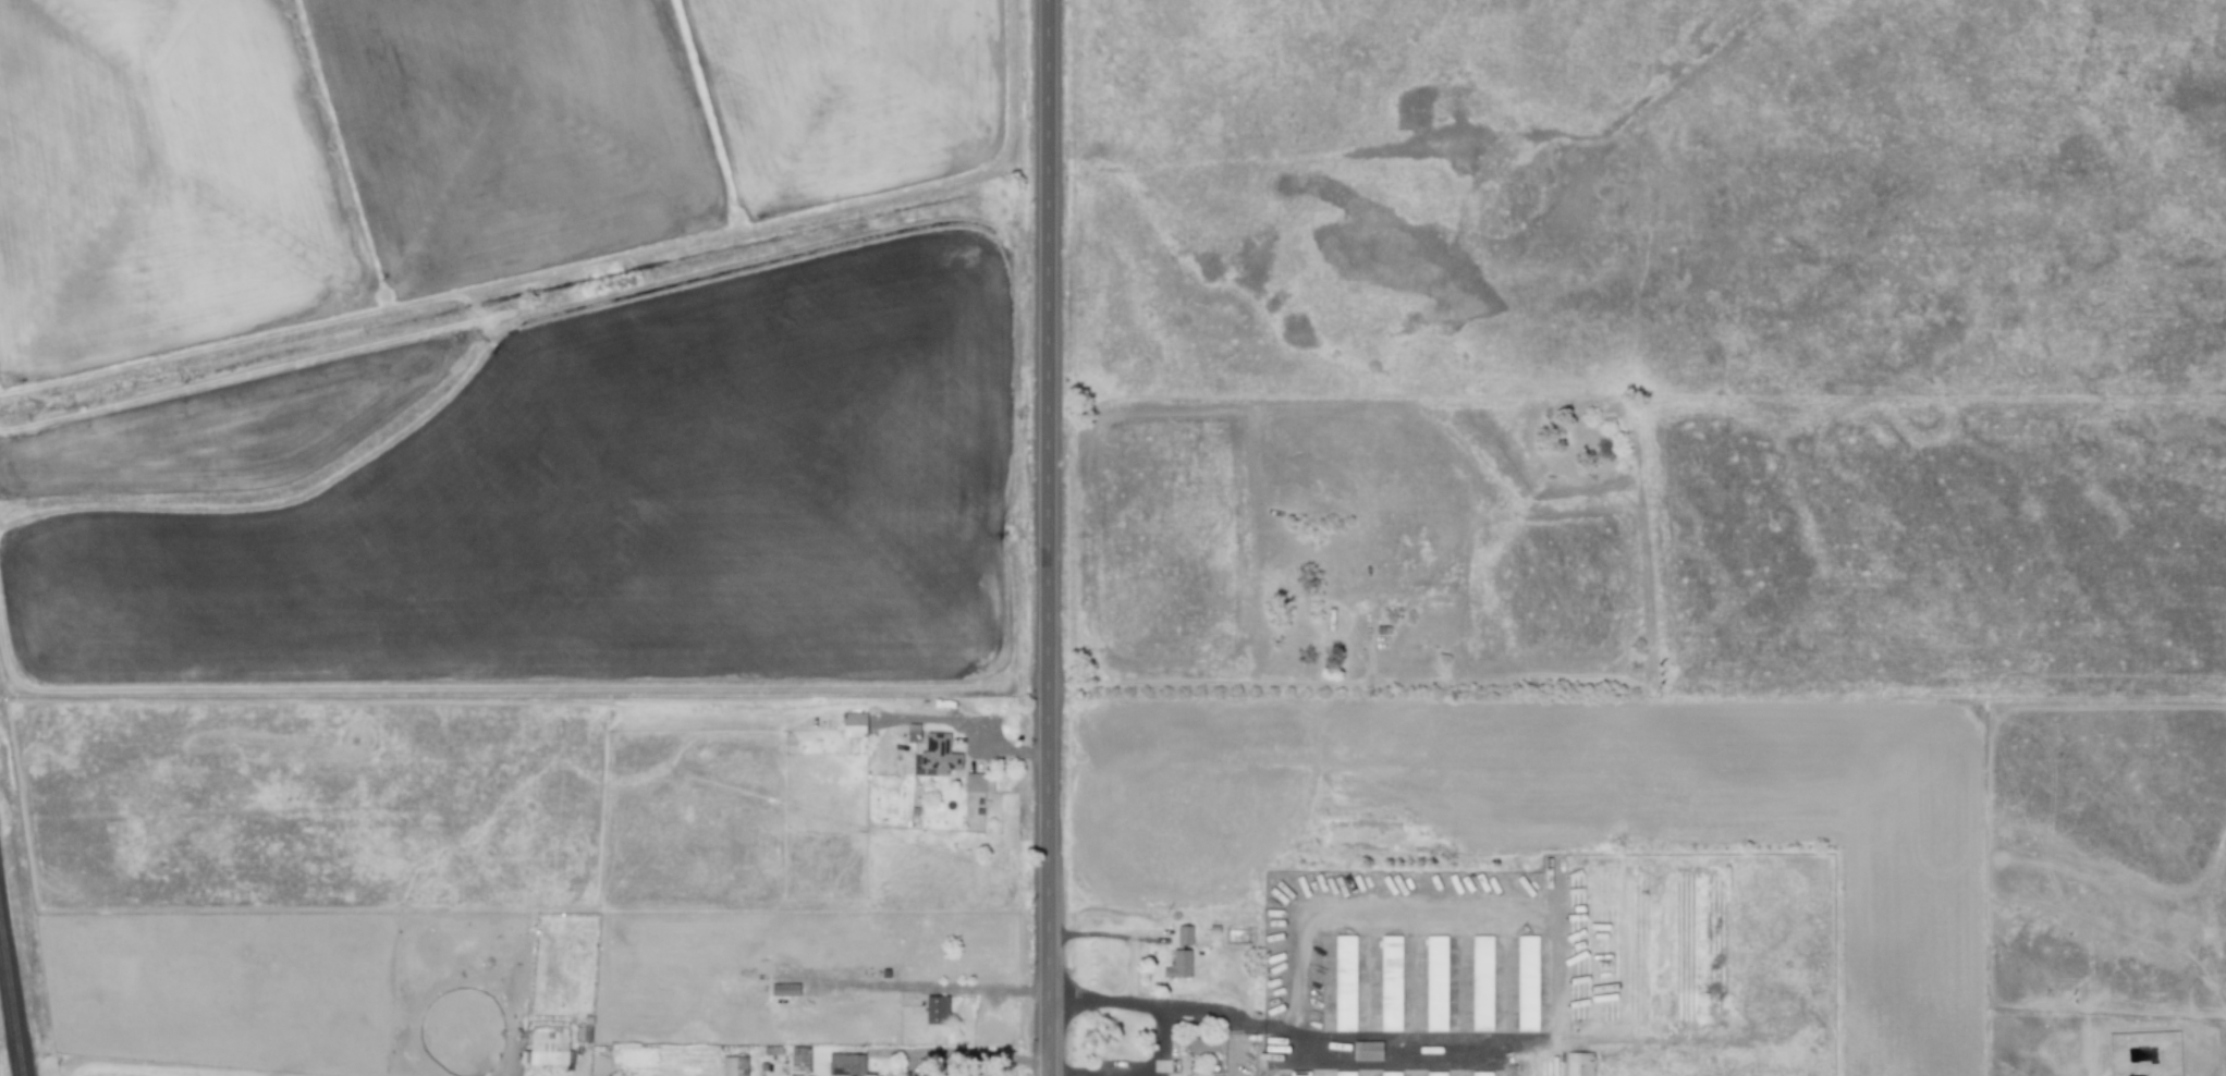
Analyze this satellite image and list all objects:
crop: (522, 350)
road: (1047, 537)
building: (853, 724)
building: (913, 733)
building: (938, 755)
building: (978, 782)
building: (1183, 934)
building: (1177, 965)
building: (1344, 982)
building: (1434, 982)
building: (1480, 982)
building: (1390, 983)
building: (1526, 983)
railway: (13, 985)
building: (784, 990)
road: (993, 990)
building: (935, 1010)
road: (1267, 1034)
road: (1160, 1043)
building: (1206, 1044)
building: (546, 1047)
building: (1366, 1051)
road: (962, 1054)
building: (799, 1059)
building: (844, 1064)
building: (1578, 1064)
building: (734, 1066)
building: (1298, 1073)
building: (1344, 1073)
building: (1434, 1073)
building: (1389, 1074)
building: (1480, 1074)

